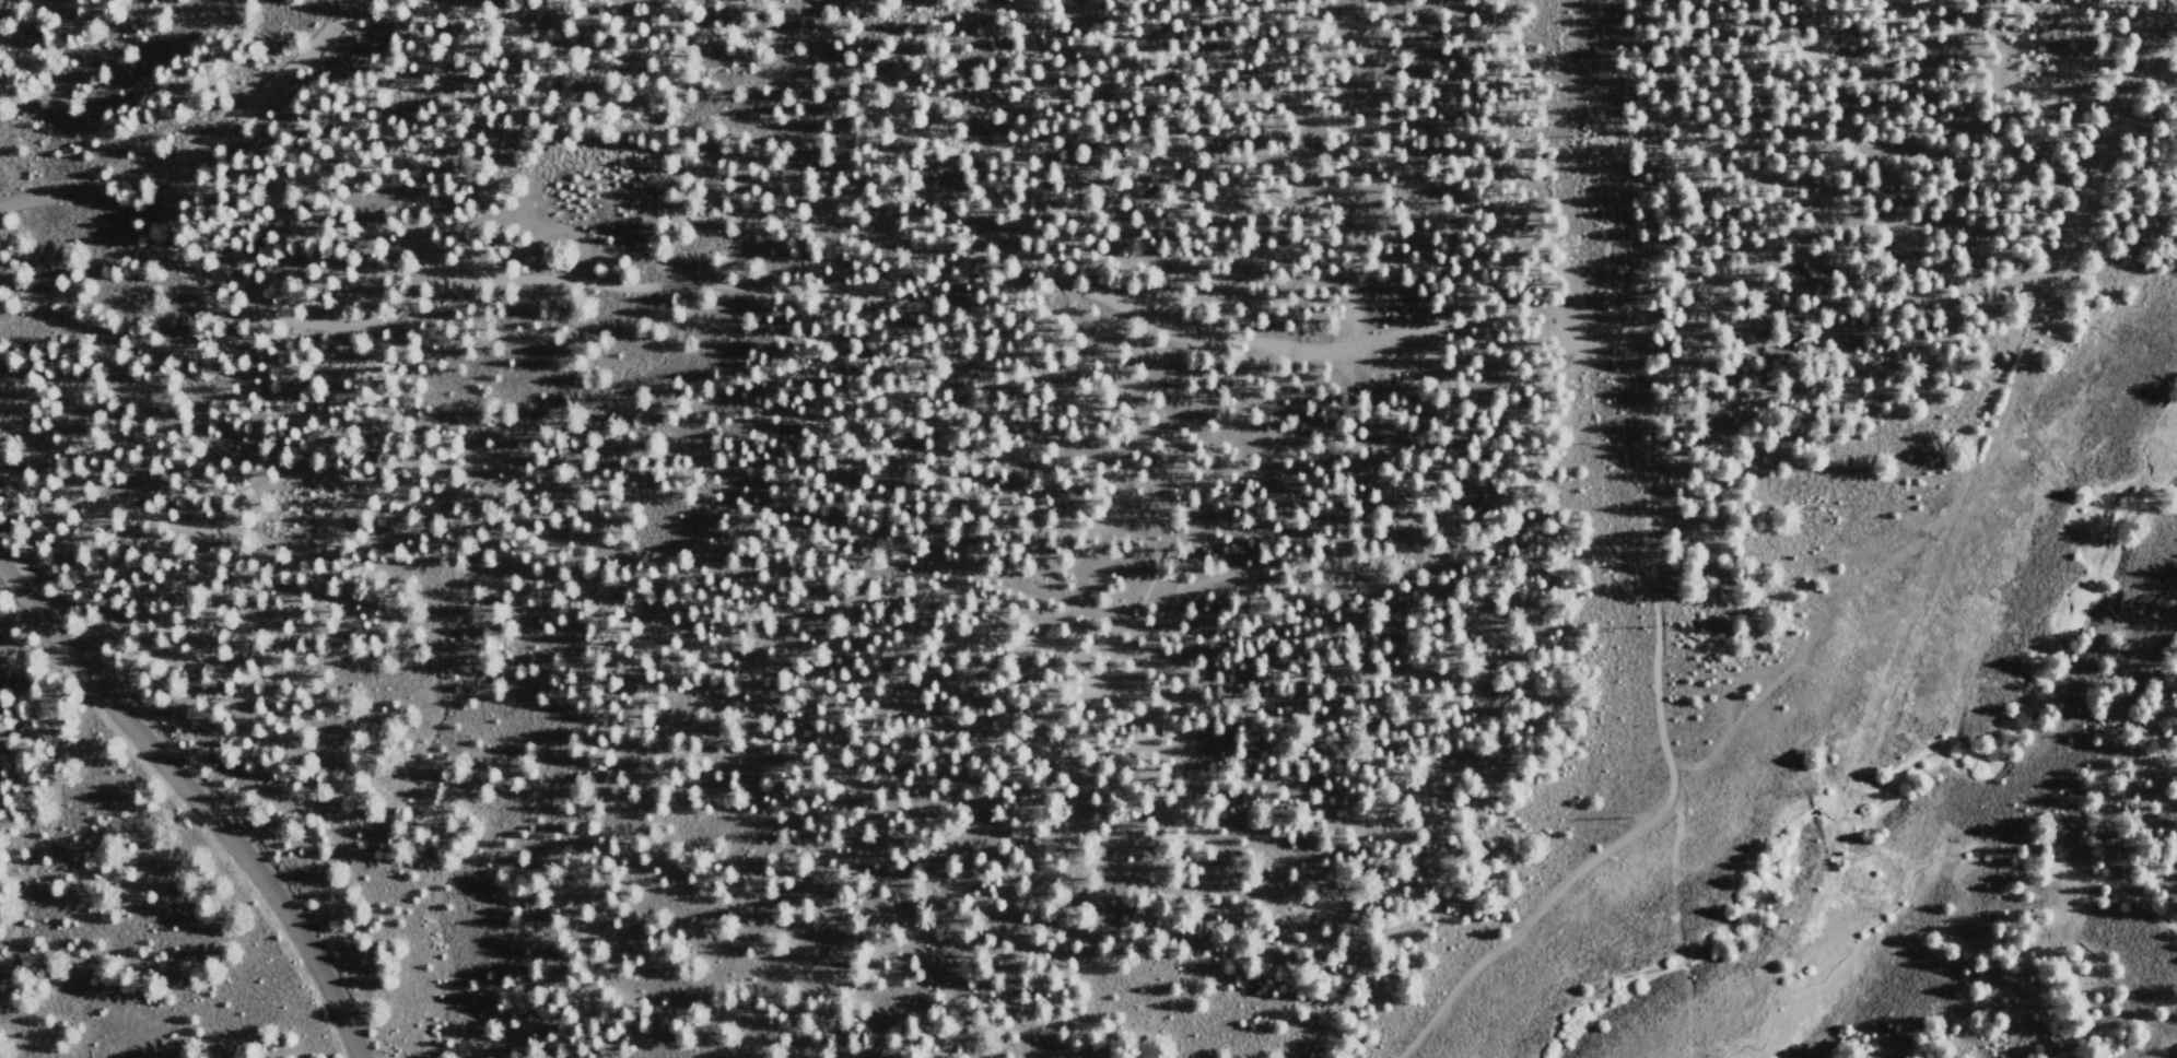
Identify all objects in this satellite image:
road: (2147, 10)
power tower: (1588, 132)
road: (202, 144)
road: (1160, 308)
road: (1652, 586)
power tower: (1636, 625)
road: (1734, 703)
road: (56, 800)
road: (196, 800)

